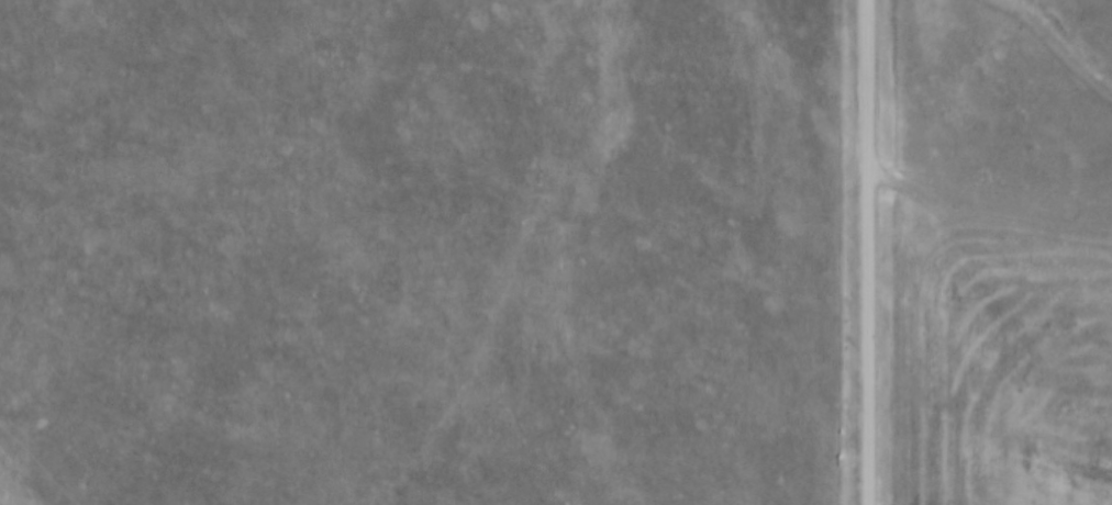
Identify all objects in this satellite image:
road: (869, 252)

